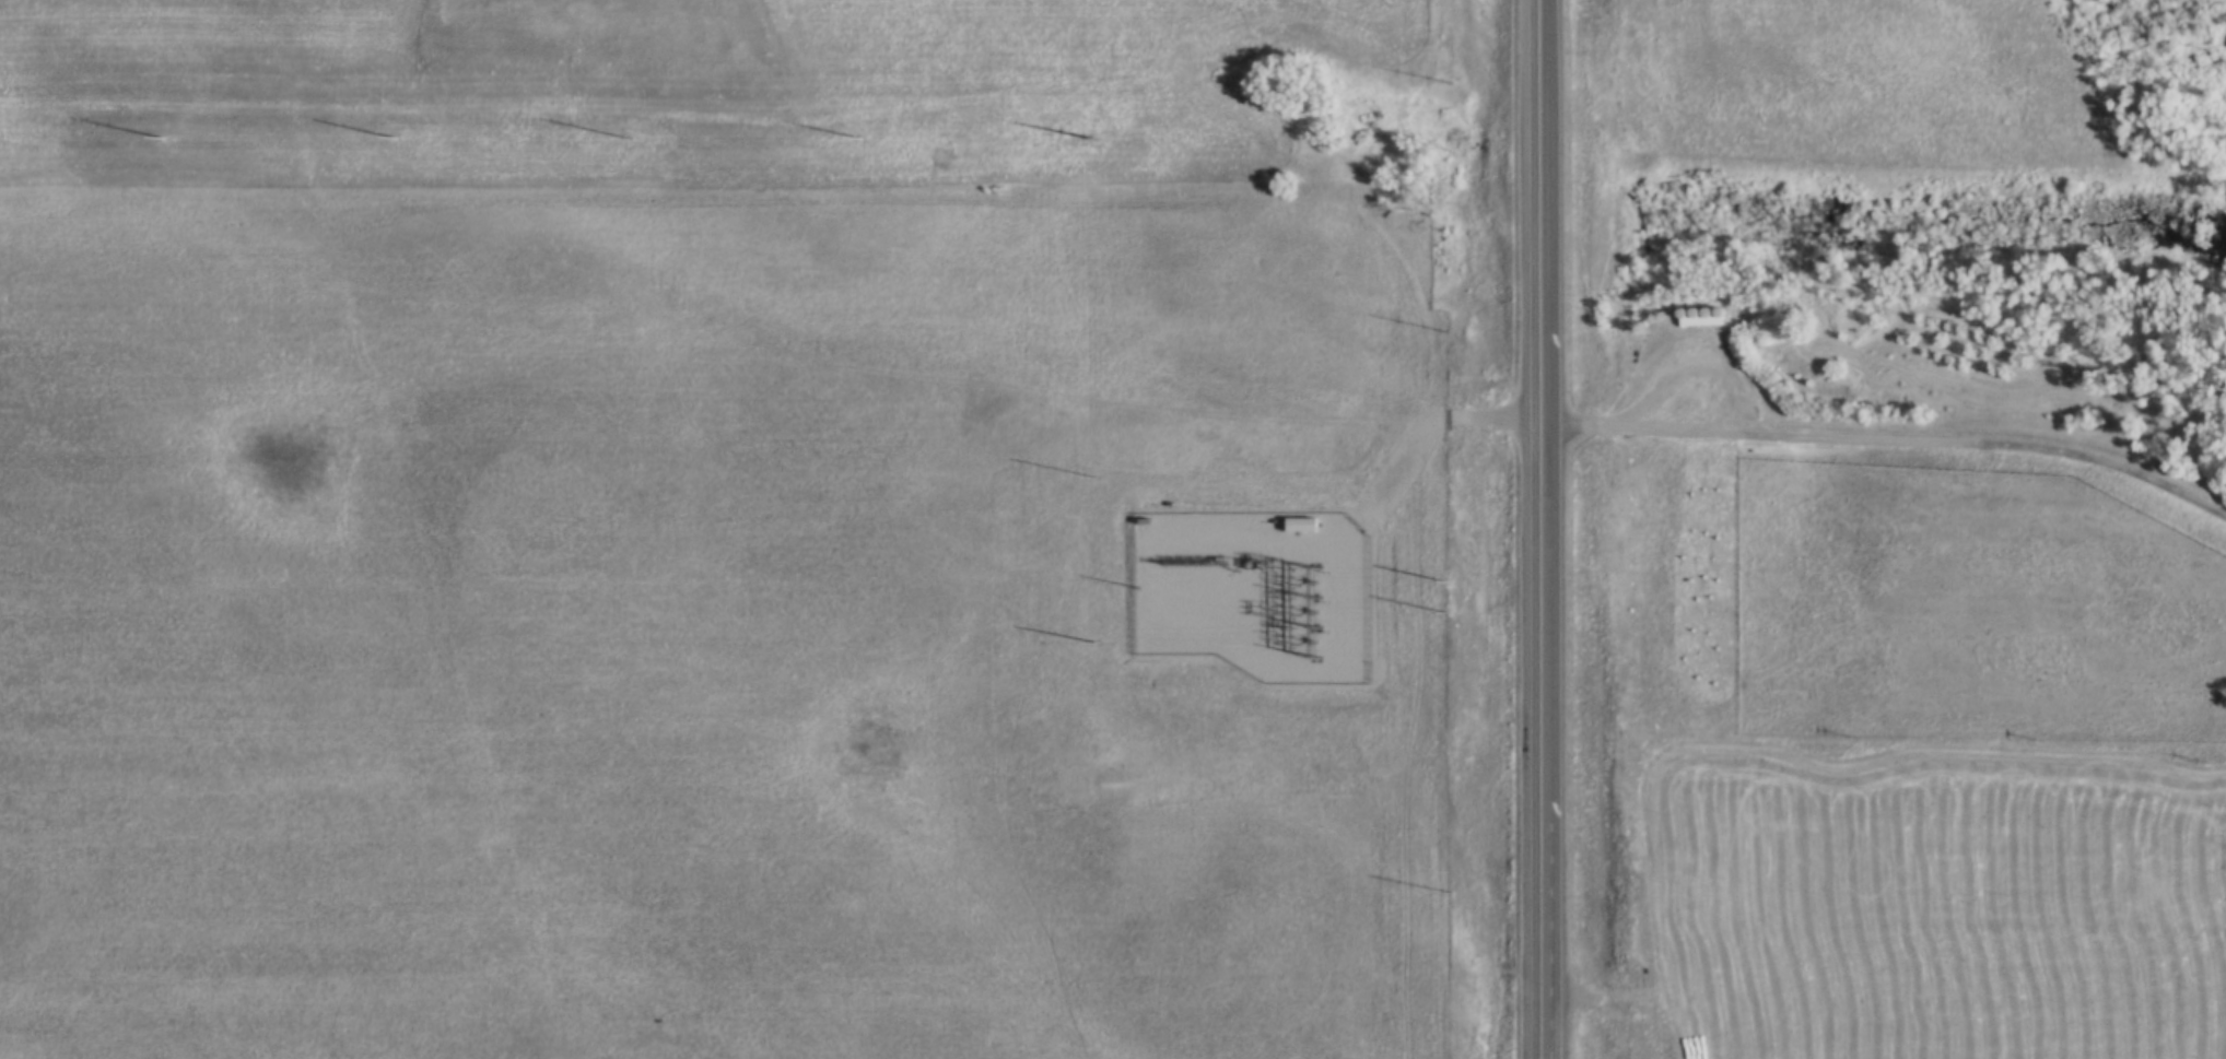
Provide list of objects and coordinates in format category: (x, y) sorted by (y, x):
road: (1702, 370)
building: (1692, 388)
road: (1888, 444)
road: (1539, 529)
power substation: (1246, 597)

